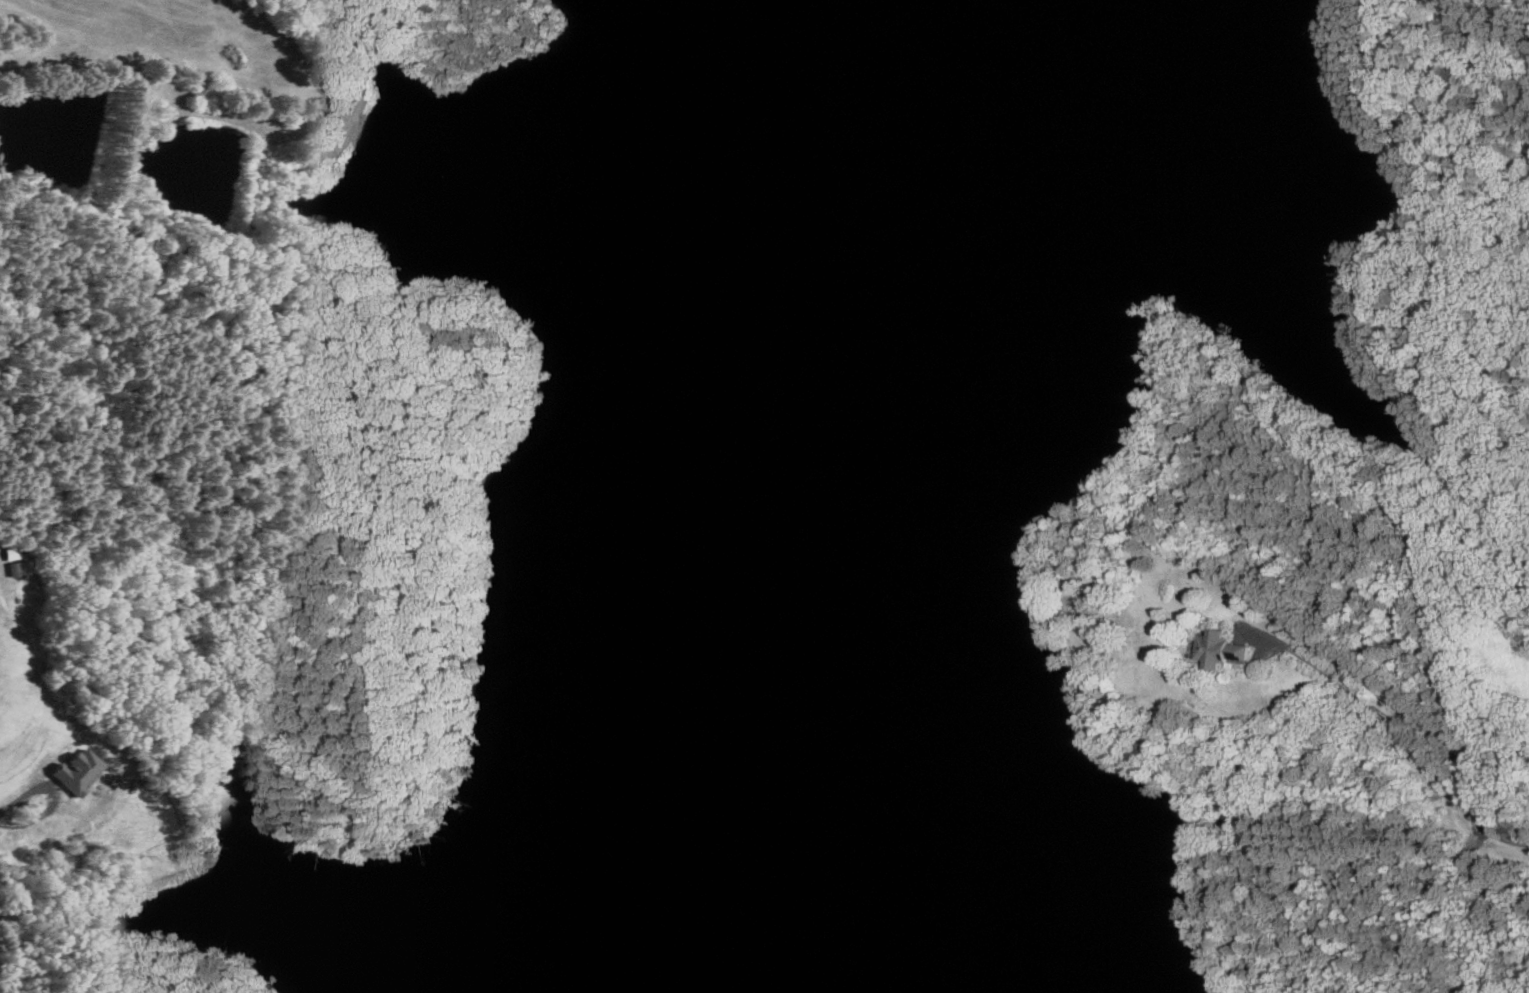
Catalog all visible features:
building: (1221, 649)
road: (1408, 739)
building: (80, 772)
road: (55, 798)

